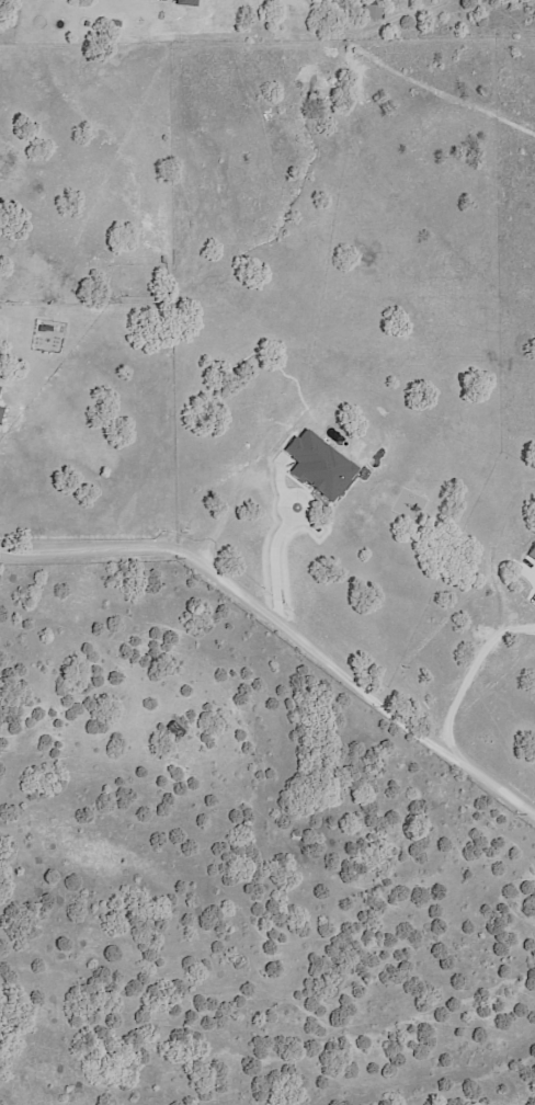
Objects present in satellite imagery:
building: (115, 24)
road: (282, 557)
road: (534, 570)
road: (285, 622)
road: (476, 673)
building: (178, 726)

